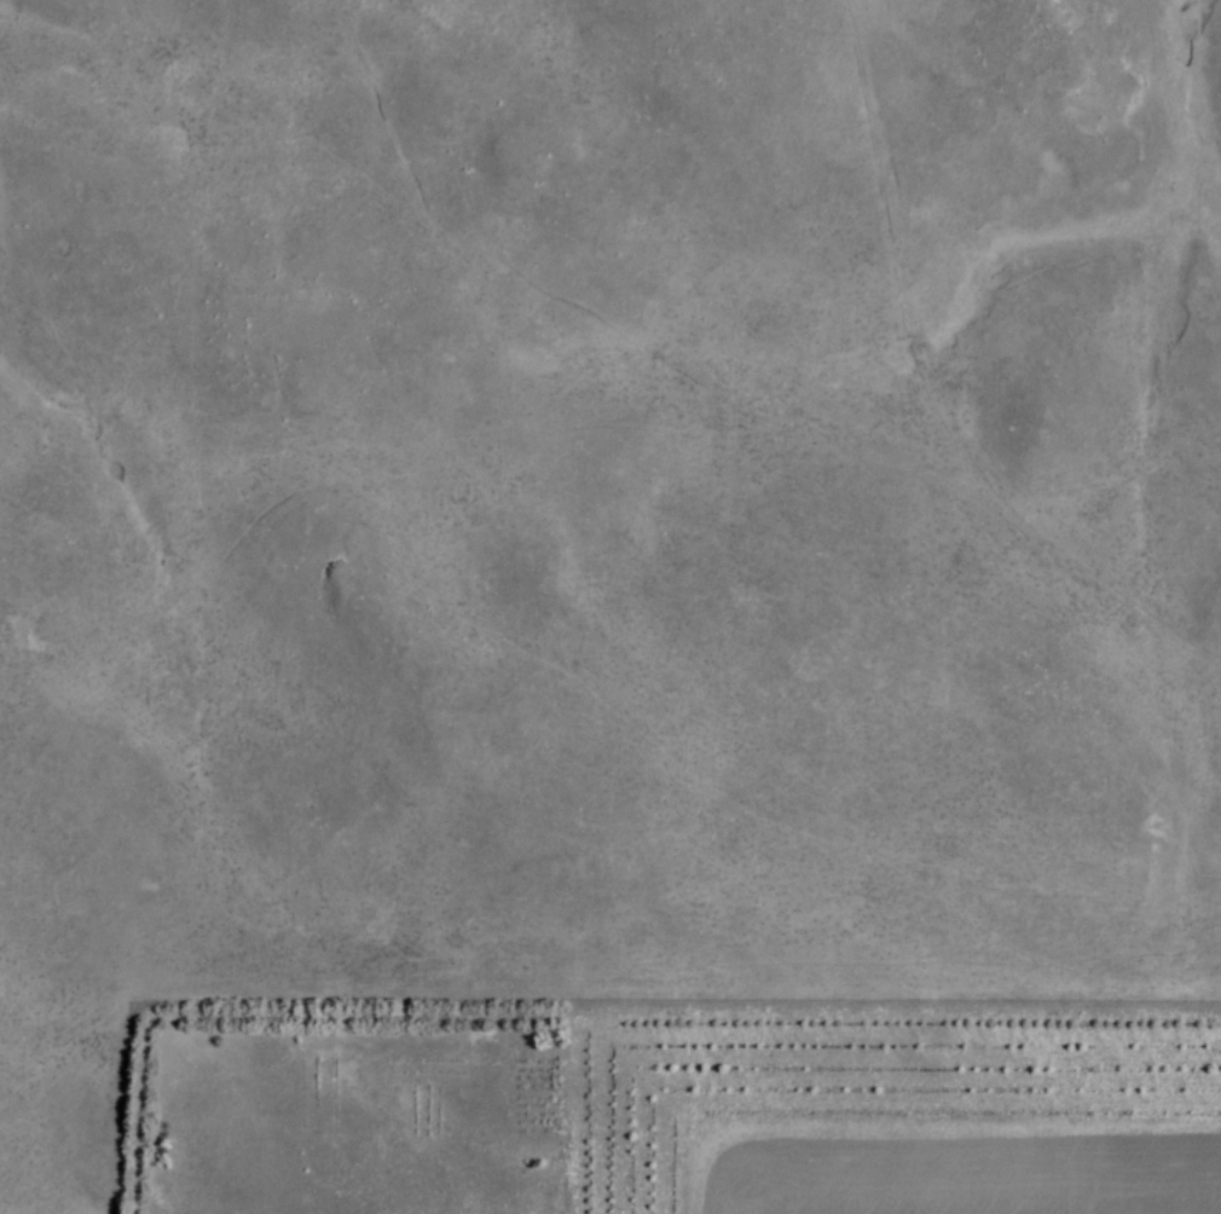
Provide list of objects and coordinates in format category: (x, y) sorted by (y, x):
crop: (950, 1164)

